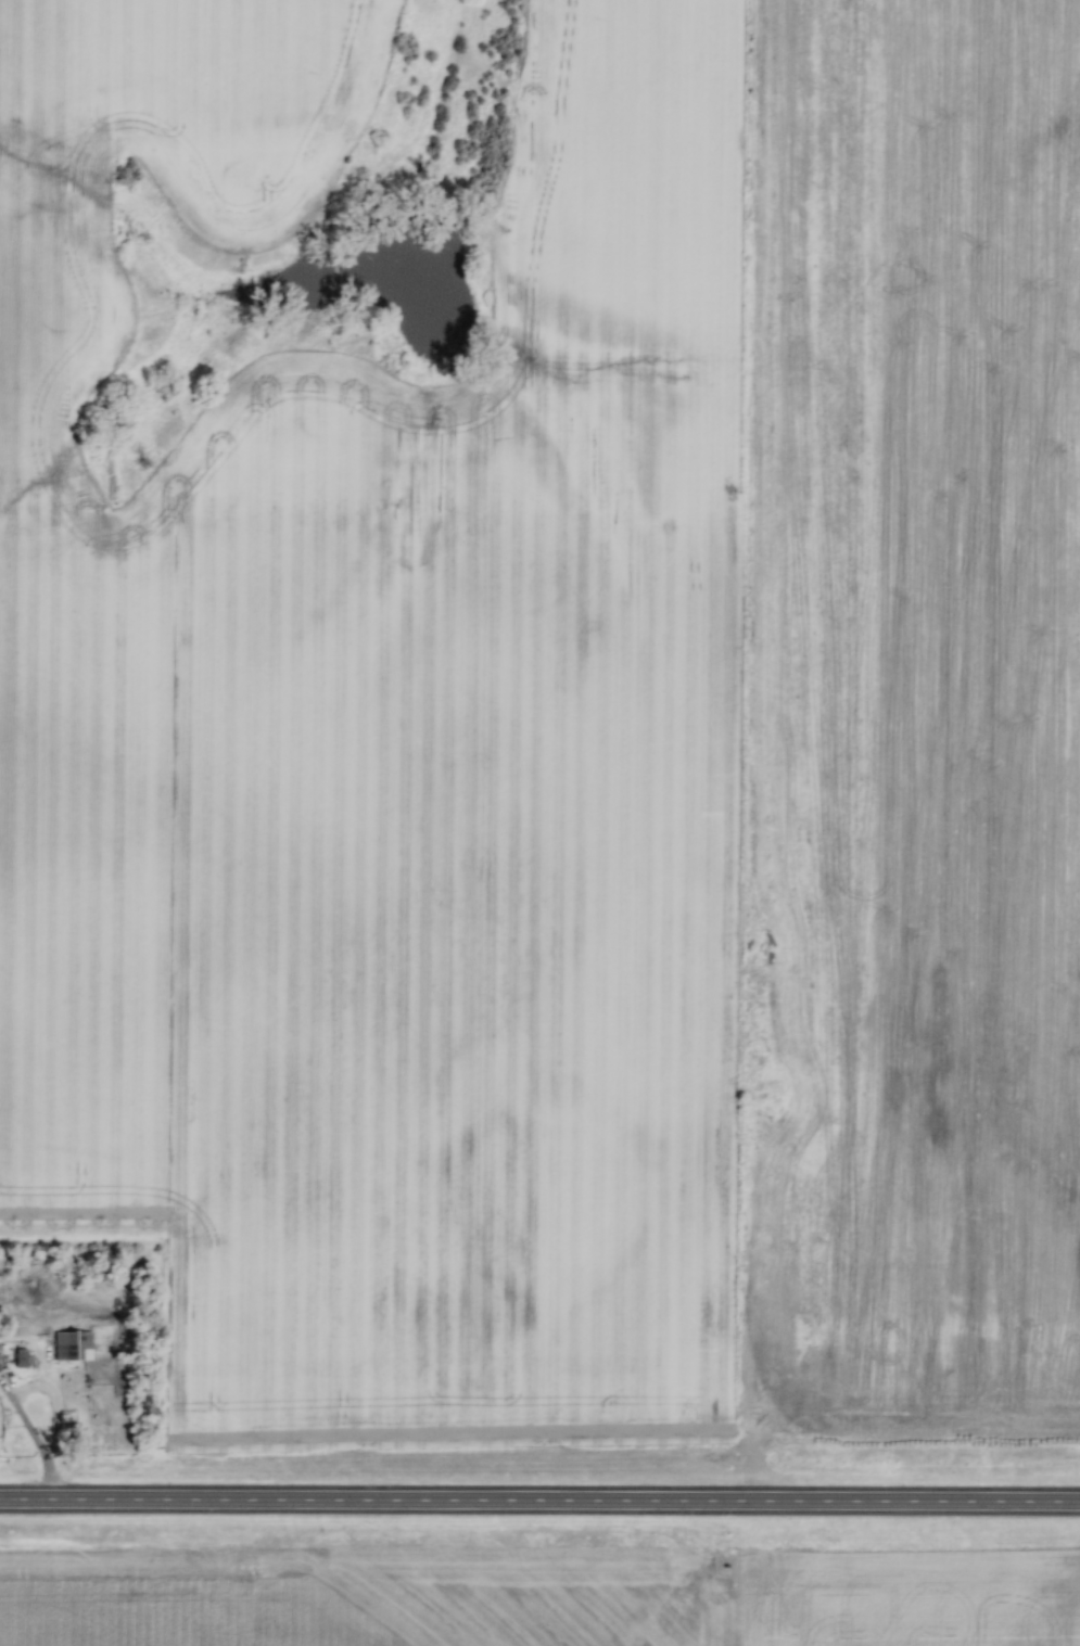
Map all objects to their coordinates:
building: (72, 1344)
road: (50, 1399)
road: (53, 1484)
road: (539, 1504)

